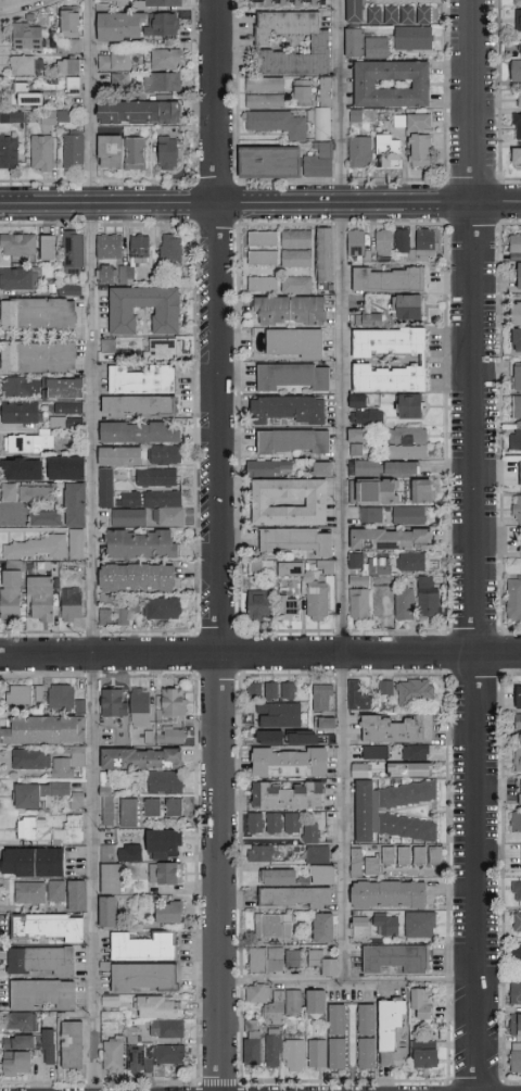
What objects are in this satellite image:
building: (113, 2)
building: (163, 3)
building: (288, 3)
building: (516, 3)
road: (18, 5)
building: (354, 11)
building: (373, 15)
building: (391, 15)
building: (416, 15)
building: (518, 20)
building: (163, 25)
building: (119, 26)
building: (69, 30)
building: (26, 36)
building: (412, 38)
building: (353, 42)
building: (291, 43)
building: (376, 46)
building: (520, 49)
building: (165, 59)
building: (114, 61)
building: (25, 65)
building: (68, 66)
building: (516, 72)
building: (115, 81)
building: (166, 81)
building: (265, 84)
building: (391, 84)
building: (73, 85)
building: (303, 91)
building: (29, 95)
building: (519, 100)
building: (265, 101)
building: (323, 111)
building: (139, 113)
building: (352, 114)
building: (20, 115)
building: (55, 117)
building: (412, 122)
building: (278, 123)
building: (517, 126)
building: (74, 150)
building: (420, 150)
building: (110, 151)
building: (360, 151)
building: (387, 151)
building: (9, 152)
building: (41, 153)
building: (136, 153)
building: (167, 153)
building: (516, 159)
building: (318, 160)
building: (269, 162)
road: (260, 208)
building: (263, 238)
building: (424, 239)
building: (356, 243)
building: (18, 244)
building: (383, 244)
building: (48, 247)
building: (110, 247)
building: (253, 247)
building: (516, 247)
building: (139, 249)
building: (171, 249)
building: (295, 249)
building: (74, 252)
building: (325, 254)
building: (263, 258)
building: (126, 272)
building: (105, 273)
building: (519, 277)
building: (18, 279)
building: (389, 279)
building: (263, 284)
building: (296, 284)
building: (73, 289)
building: (406, 308)
building: (290, 311)
building: (516, 313)
building: (40, 314)
building: (368, 319)
building: (166, 321)
building: (517, 340)
building: (387, 341)
building: (293, 343)
building: (109, 346)
building: (158, 349)
building: (38, 356)
building: (293, 376)
building: (518, 376)
building: (142, 379)
building: (387, 379)
building: (43, 387)
building: (138, 406)
building: (517, 406)
building: (409, 407)
building: (288, 409)
building: (364, 412)
building: (21, 413)
building: (66, 415)
building: (138, 432)
building: (358, 439)
building: (516, 441)
building: (27, 442)
building: (294, 442)
building: (407, 442)
building: (164, 454)
building: (119, 455)
building: (65, 467)
building: (269, 467)
building: (365, 467)
building: (322, 468)
building: (402, 468)
building: (23, 469)
building: (520, 474)
building: (157, 478)
building: (105, 487)
building: (374, 491)
building: (422, 491)
building: (10, 492)
building: (36, 493)
building: (288, 502)
building: (75, 504)
building: (157, 505)
road: (11, 506)
building: (517, 507)
building: (371, 515)
building: (408, 515)
building: (128, 517)
building: (45, 518)
building: (391, 539)
building: (296, 540)
road: (96, 544)
building: (140, 544)
road: (220, 544)
road: (474, 544)
building: (516, 544)
building: (46, 547)
road: (342, 552)
building: (355, 561)
building: (411, 562)
building: (434, 562)
building: (378, 566)
building: (325, 567)
building: (291, 569)
building: (137, 577)
building: (359, 580)
building: (11, 595)
building: (428, 597)
building: (513, 598)
building: (40, 599)
building: (383, 600)
building: (317, 601)
building: (72, 603)
building: (358, 603)
building: (405, 604)
building: (258, 606)
building: (289, 607)
building: (164, 609)
building: (109, 615)
building: (123, 617)
road: (259, 655)
building: (385, 688)
building: (263, 691)
building: (288, 691)
building: (416, 692)
building: (24, 695)
building: (358, 697)
building: (517, 697)
building: (64, 699)
building: (323, 699)
building: (112, 703)
building: (170, 703)
building: (140, 707)
building: (279, 715)
building: (326, 723)
building: (517, 723)
building: (45, 729)
building: (396, 729)
building: (279, 735)
building: (170, 736)
building: (376, 752)
building: (416, 753)
building: (29, 758)
building: (141, 758)
building: (517, 761)
building: (289, 762)
building: (68, 763)
building: (405, 767)
building: (164, 782)
building: (43, 794)
building: (520, 794)
building: (288, 795)
building: (151, 807)
building: (174, 807)
building: (394, 811)
building: (128, 812)
building: (274, 823)
building: (517, 825)
building: (28, 827)
building: (68, 830)
building: (310, 833)
building: (164, 844)
building: (110, 851)
building: (132, 852)
building: (260, 853)
building: (318, 854)
building: (404, 855)
building: (419, 855)
building: (435, 855)
building: (520, 856)
building: (353, 861)
building: (379, 861)
building: (33, 862)
building: (165, 874)
building: (323, 875)
building: (278, 877)
building: (111, 878)
building: (55, 891)
building: (30, 892)
building: (516, 893)
building: (389, 894)
building: (77, 895)
building: (295, 898)
building: (107, 912)
building: (169, 912)
building: (420, 924)
building: (385, 925)
building: (276, 926)
building: (517, 926)
building: (48, 927)
building: (322, 927)
building: (142, 946)
building: (513, 955)
building: (292, 958)
building: (396, 958)
building: (266, 960)
building: (41, 962)
building: (322, 963)
building: (142, 977)
road: (498, 980)
road: (410, 982)
building: (42, 993)
building: (514, 994)
building: (110, 1001)
building: (275, 1002)
building: (315, 1002)
building: (422, 1003)
building: (158, 1007)
building: (336, 1020)
building: (367, 1020)
building: (20, 1023)
building: (514, 1026)
building: (166, 1029)
building: (392, 1033)
building: (252, 1043)
building: (72, 1044)
building: (49, 1046)
building: (274, 1048)
building: (135, 1052)
building: (367, 1052)
building: (338, 1053)
building: (317, 1054)
building: (18, 1055)
building: (114, 1055)
building: (295, 1055)
building: (424, 1055)
building: (167, 1057)
building: (514, 1058)

